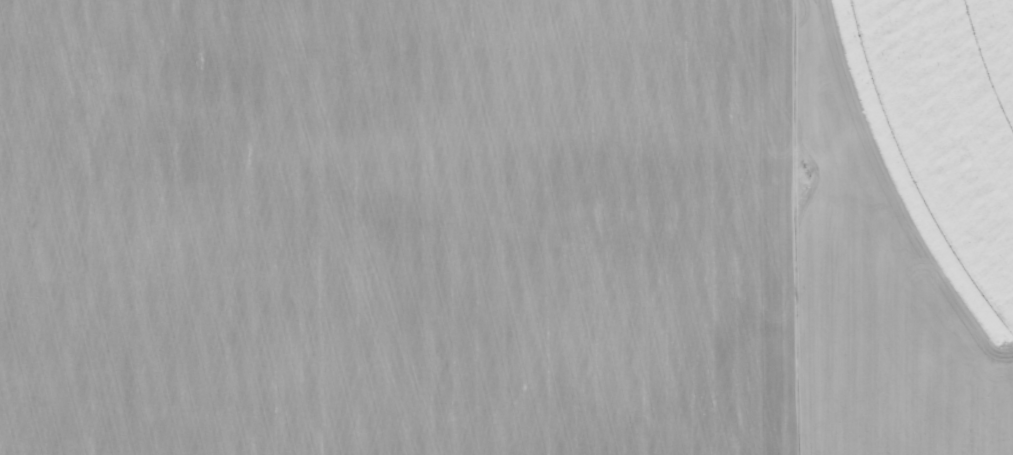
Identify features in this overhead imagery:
road: (789, 227)

